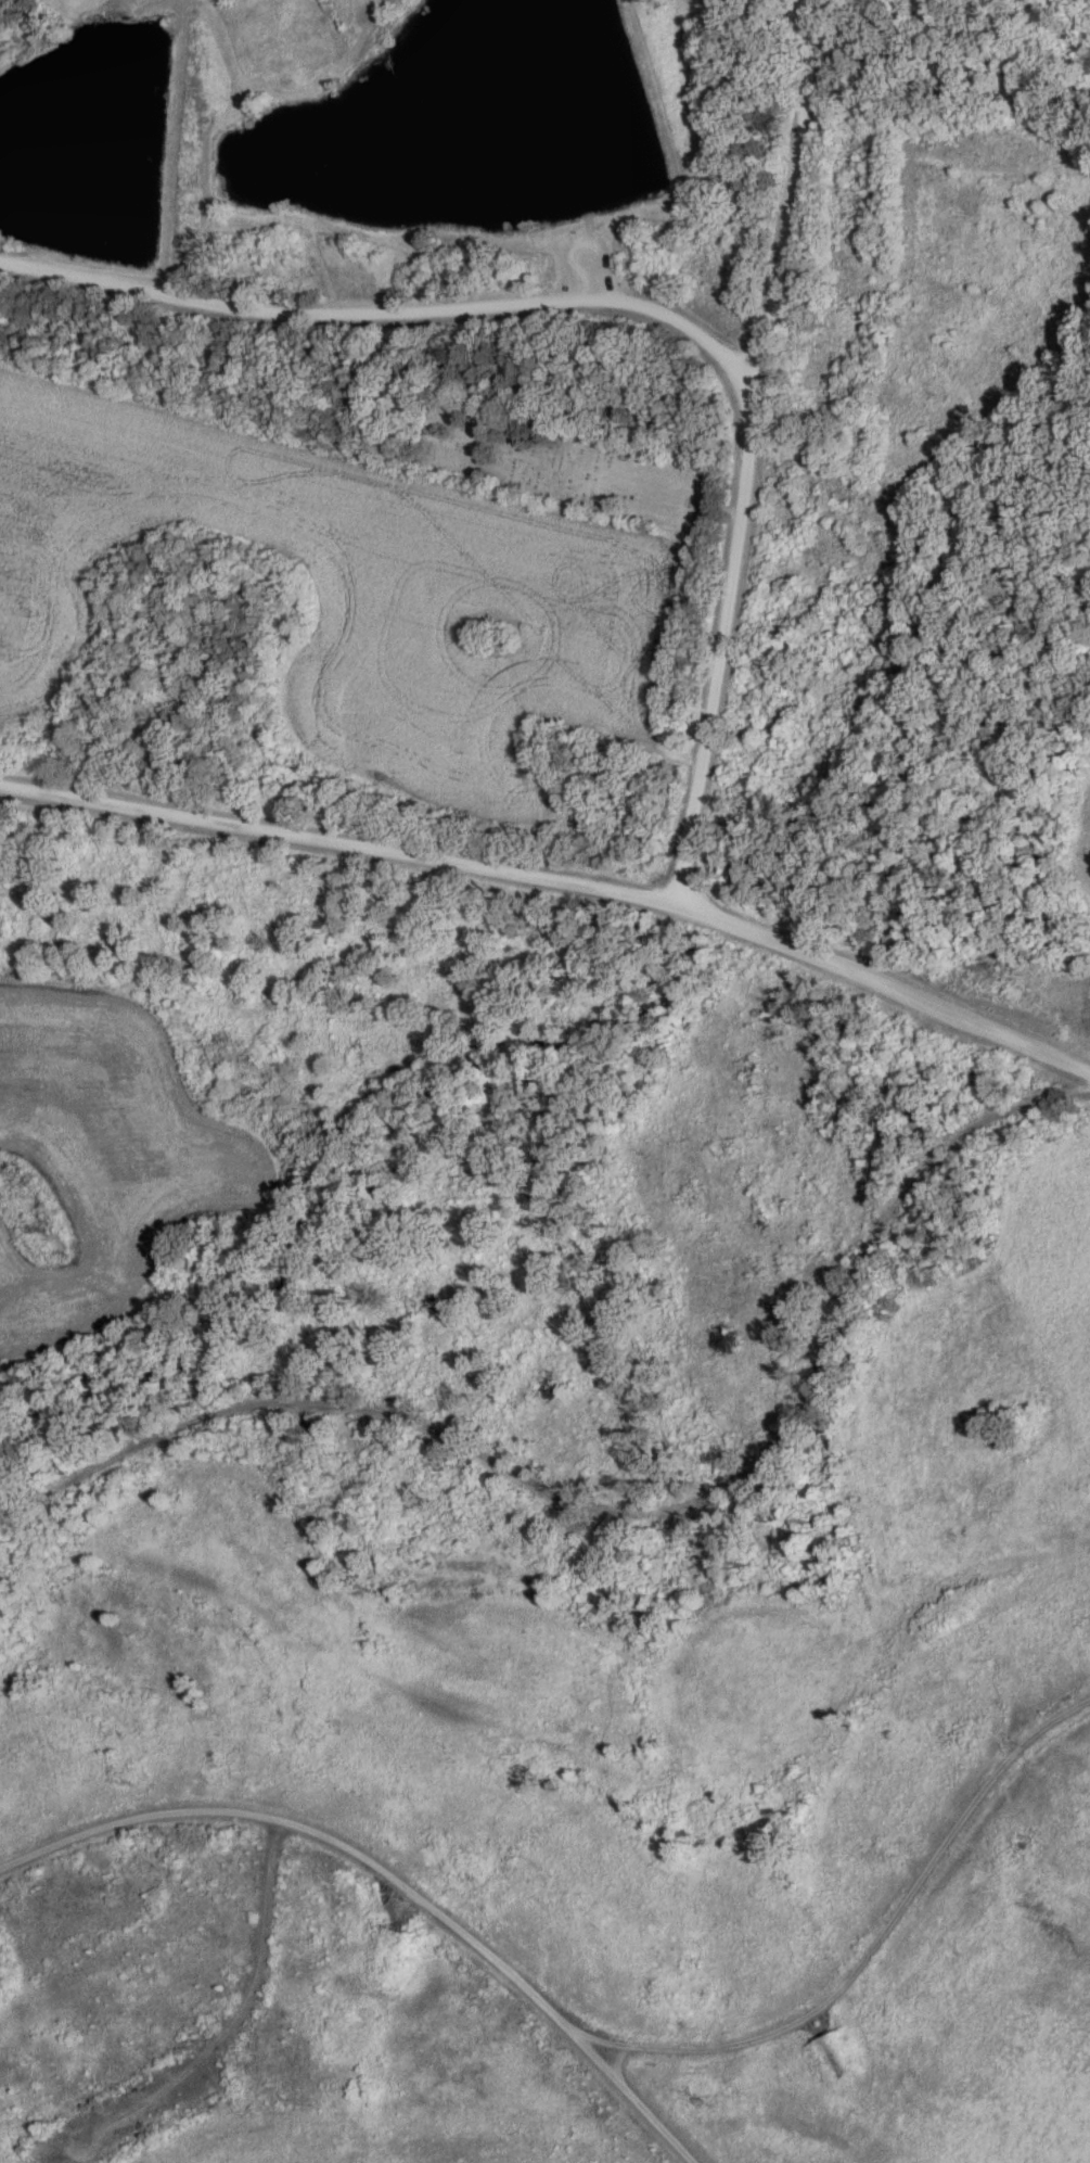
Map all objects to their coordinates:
road: (1055, 27)
dam: (655, 102)
dam: (168, 137)
road: (788, 194)
parking lot: (588, 266)
road: (589, 278)
park: (563, 463)
road: (745, 478)
road: (341, 841)
road: (628, 1512)
road: (390, 1876)
road: (881, 1941)

